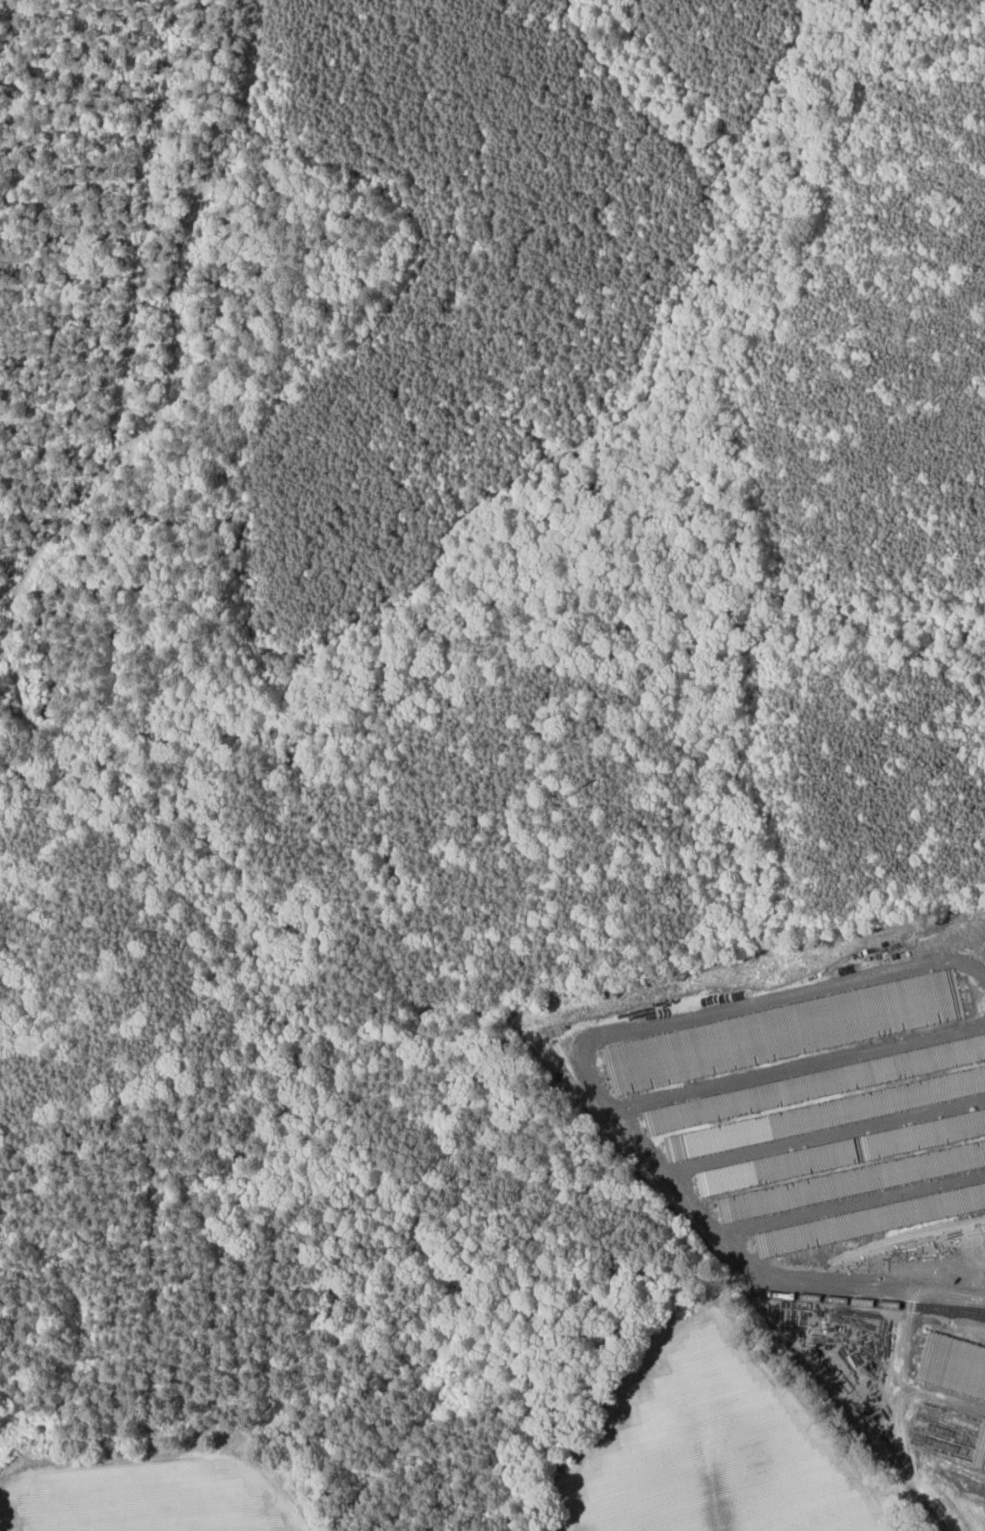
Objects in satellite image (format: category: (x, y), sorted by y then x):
railway: (874, 1302)
railway: (974, 1311)

